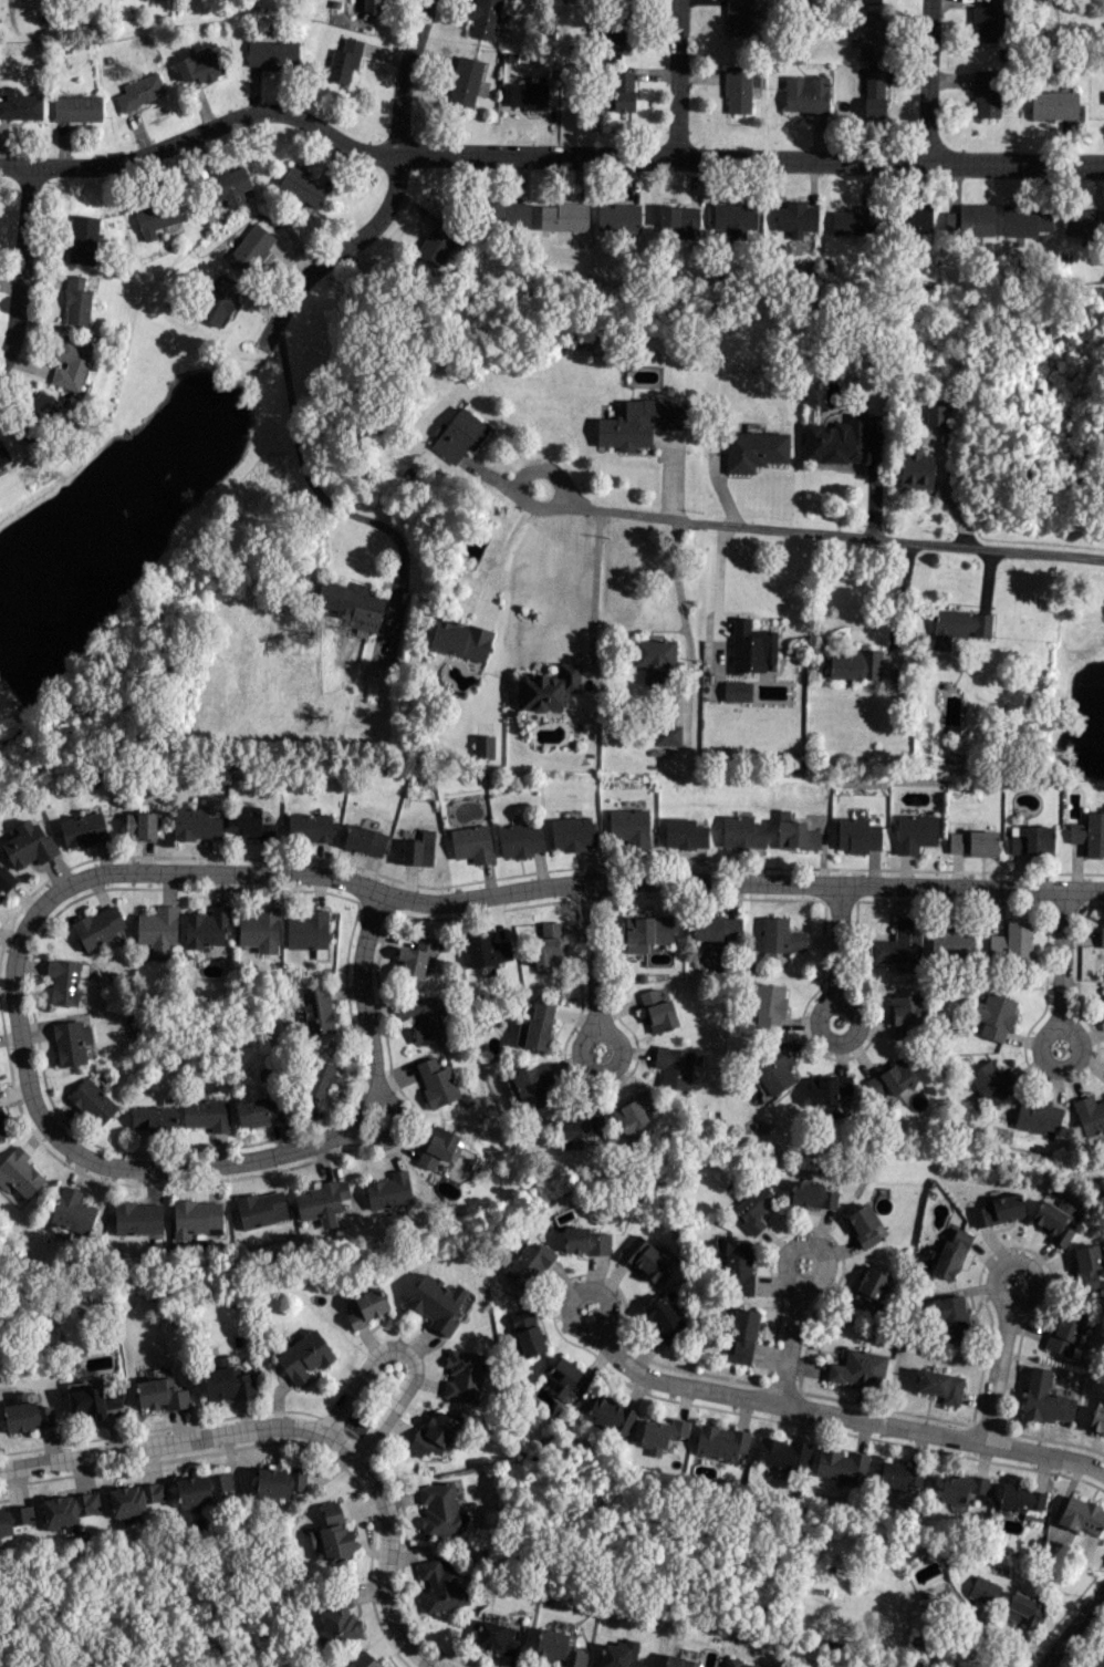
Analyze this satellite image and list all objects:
road: (678, 77)
road: (929, 82)
road: (541, 154)
road: (394, 195)
road: (22, 269)
road: (522, 478)
road: (316, 491)
road: (833, 534)
road: (501, 549)
road: (677, 578)
road: (593, 586)
road: (716, 593)
road: (402, 900)
road: (830, 1001)
road: (597, 1022)
road: (1061, 1025)
road: (356, 1118)
road: (394, 1128)
road: (791, 1277)
road: (579, 1292)
road: (1010, 1314)
road: (402, 1353)
road: (844, 1414)
road: (298, 1430)
road: (1073, 1627)

